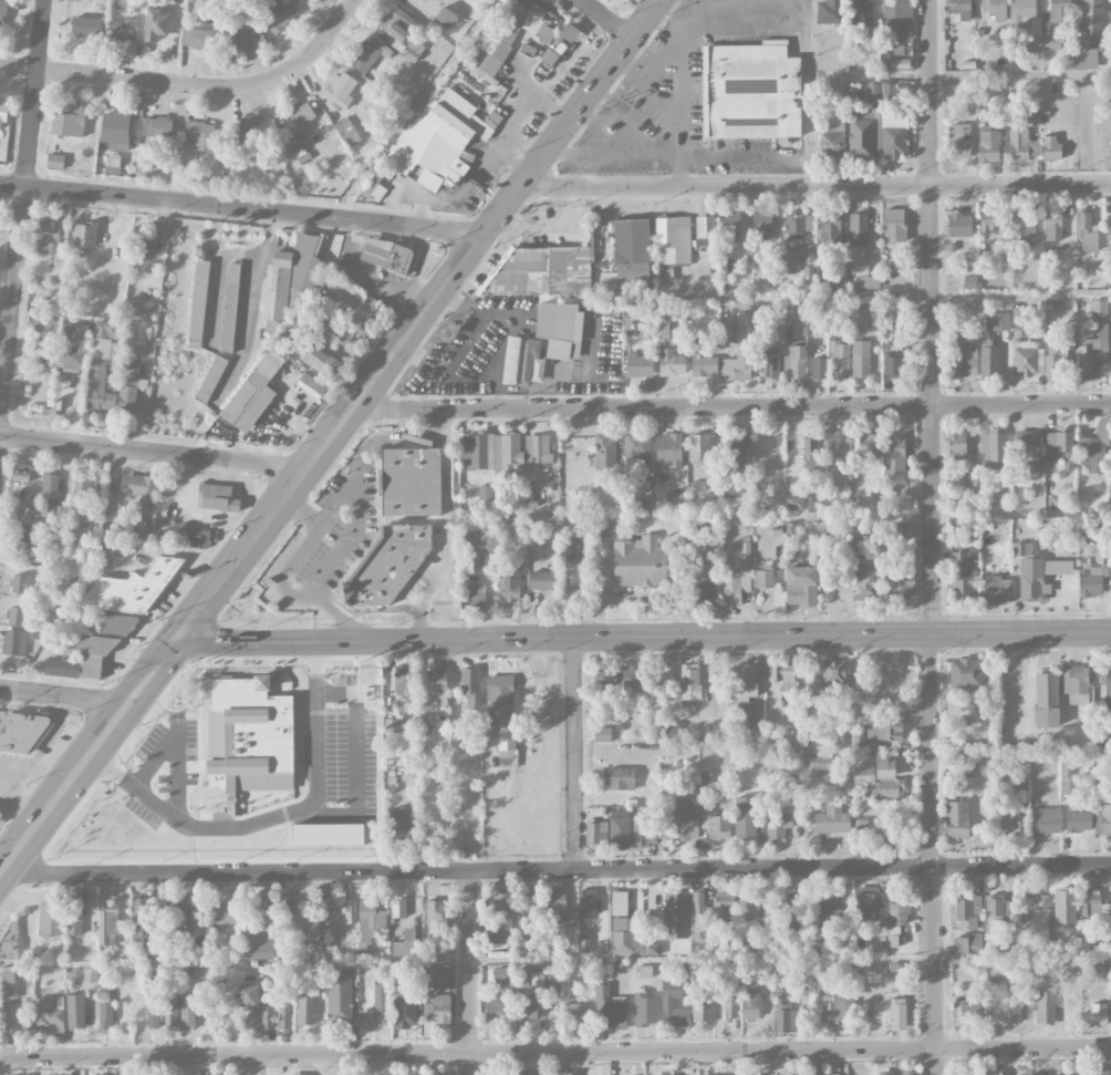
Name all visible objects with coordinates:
building: (424, 0)
building: (962, 9)
building: (995, 9)
building: (829, 11)
building: (1060, 11)
building: (2, 12)
building: (280, 13)
building: (445, 15)
building: (896, 17)
road: (608, 19)
building: (1026, 22)
building: (155, 23)
building: (397, 23)
building: (85, 27)
road: (745, 27)
building: (122, 29)
building: (569, 32)
building: (1088, 33)
building: (509, 34)
building: (197, 38)
building: (1051, 41)
building: (527, 50)
building: (415, 52)
building: (553, 52)
building: (367, 53)
building: (892, 62)
road: (195, 86)
building: (831, 86)
road: (679, 87)
building: (340, 89)
road: (653, 89)
building: (750, 92)
road: (807, 92)
building: (889, 93)
building: (873, 95)
building: (301, 113)
building: (2, 114)
building: (1031, 117)
building: (69, 120)
building: (156, 126)
road: (599, 127)
building: (115, 130)
building: (243, 131)
building: (346, 132)
building: (199, 134)
building: (893, 136)
building: (862, 138)
building: (440, 141)
building: (831, 141)
building: (958, 141)
building: (1021, 144)
building: (988, 146)
building: (1050, 147)
road: (615, 156)
road: (738, 156)
building: (113, 159)
building: (54, 161)
building: (144, 168)
road: (570, 170)
road: (814, 185)
road: (242, 209)
road: (23, 213)
building: (988, 221)
building: (1110, 223)
building: (1051, 224)
building: (762, 225)
building: (798, 225)
building: (894, 225)
building: (959, 225)
building: (730, 226)
building: (830, 226)
building: (1022, 227)
building: (705, 230)
building: (1087, 230)
building: (48, 234)
building: (83, 234)
building: (858, 236)
building: (673, 239)
building: (144, 245)
building: (385, 254)
building: (808, 254)
building: (632, 255)
building: (791, 259)
building: (305, 263)
building: (541, 272)
building: (839, 278)
building: (865, 278)
building: (608, 280)
building: (278, 288)
building: (197, 299)
road: (250, 302)
building: (360, 302)
building: (228, 307)
building: (743, 319)
building: (1018, 319)
building: (997, 321)
road: (417, 322)
building: (44, 323)
building: (560, 329)
building: (343, 331)
building: (891, 332)
building: (728, 334)
building: (83, 339)
building: (1094, 344)
building: (115, 350)
building: (1057, 353)
building: (669, 356)
building: (840, 359)
building: (860, 359)
building: (963, 359)
building: (1027, 359)
building: (519, 360)
building: (988, 361)
building: (770, 362)
building: (795, 362)
building: (640, 364)
building: (704, 364)
building: (100, 365)
building: (334, 365)
building: (736, 365)
building: (895, 365)
building: (819, 368)
building: (209, 379)
building: (311, 384)
building: (253, 393)
building: (127, 394)
road: (730, 406)
building: (1028, 437)
road: (382, 438)
building: (1058, 442)
building: (957, 444)
building: (832, 445)
building: (699, 446)
building: (864, 447)
building: (537, 448)
building: (636, 448)
building: (668, 449)
building: (991, 449)
building: (478, 452)
road: (153, 453)
building: (809, 453)
building: (1092, 453)
building: (508, 454)
building: (731, 454)
building: (894, 454)
building: (604, 455)
building: (21, 472)
building: (411, 482)
building: (137, 484)
building: (697, 485)
building: (101, 486)
building: (485, 492)
building: (49, 494)
building: (218, 497)
building: (675, 498)
building: (82, 500)
building: (731, 500)
building: (796, 503)
building: (640, 505)
road: (357, 510)
building: (25, 515)
building: (606, 526)
road: (445, 527)
building: (570, 528)
building: (142, 530)
building: (160, 531)
building: (901, 533)
building: (194, 536)
road: (932, 537)
building: (486, 540)
building: (28, 541)
building: (855, 542)
road: (126, 546)
building: (640, 562)
building: (387, 565)
road: (476, 569)
building: (1037, 571)
building: (570, 573)
building: (964, 576)
building: (764, 577)
building: (737, 578)
building: (1091, 579)
building: (542, 580)
building: (865, 581)
building: (509, 582)
building: (24, 583)
road: (280, 583)
building: (901, 583)
building: (801, 586)
building: (133, 588)
building: (996, 590)
building: (705, 595)
building: (476, 597)
road: (383, 609)
building: (18, 616)
building: (121, 624)
road: (642, 637)
building: (13, 642)
building: (97, 644)
traffic signals: (174, 644)
road: (222, 652)
road: (274, 654)
road: (300, 660)
road: (342, 660)
road: (239, 665)
building: (61, 666)
building: (91, 666)
building: (965, 673)
building: (782, 674)
building: (632, 675)
road: (326, 678)
building: (403, 680)
building: (605, 680)
building: (689, 681)
building: (1074, 683)
building: (829, 684)
building: (470, 685)
building: (1107, 690)
road: (65, 696)
building: (747, 696)
building: (1046, 700)
building: (186, 712)
road: (331, 716)
building: (501, 716)
building: (667, 728)
building: (884, 730)
building: (20, 732)
building: (248, 732)
building: (602, 733)
building: (858, 736)
building: (842, 742)
road: (326, 751)
road: (573, 754)
road: (87, 758)
building: (820, 762)
building: (863, 775)
building: (1067, 777)
building: (620, 778)
building: (887, 778)
building: (1098, 786)
building: (1018, 787)
building: (745, 816)
building: (1105, 818)
building: (683, 819)
building: (832, 819)
building: (956, 819)
building: (1043, 820)
building: (1078, 820)
road: (98, 821)
building: (1008, 821)
building: (1097, 821)
building: (778, 824)
building: (859, 824)
building: (398, 825)
building: (716, 826)
building: (619, 827)
building: (644, 830)
building: (596, 834)
building: (885, 838)
road: (1021, 866)
road: (465, 870)
building: (285, 901)
building: (866, 902)
building: (586, 903)
building: (619, 903)
building: (1093, 903)
building: (398, 906)
building: (721, 906)
building: (750, 906)
building: (557, 907)
building: (796, 908)
building: (994, 909)
building: (1008, 909)
building: (139, 910)
building: (351, 910)
building: (438, 911)
building: (830, 912)
building: (967, 912)
building: (899, 913)
building: (74, 916)
building: (224, 916)
building: (501, 916)
building: (675, 916)
building: (181, 917)
building: (698, 917)
building: (50, 918)
building: (370, 920)
building: (307, 921)
building: (107, 923)
building: (528, 927)
building: (136, 934)
building: (262, 936)
building: (625, 936)
building: (746, 940)
building: (892, 940)
building: (966, 944)
building: (814, 947)
building: (405, 948)
road: (469, 972)
building: (90, 974)
building: (500, 974)
building: (528, 978)
building: (8, 981)
building: (399, 983)
building: (248, 995)
building: (340, 998)
building: (154, 1003)
building: (381, 1003)
building: (730, 1003)
building: (673, 1004)
building: (749, 1004)
building: (602, 1005)
building: (1045, 1005)
building: (837, 1006)
building: (172, 1007)
building: (496, 1007)
building: (437, 1009)
building: (528, 1009)
building: (645, 1009)
building: (702, 1009)
building: (305, 1010)
building: (1009, 1010)
building: (75, 1011)
building: (187, 1011)
building: (969, 1011)
building: (48, 1012)
building: (619, 1012)
building: (25, 1013)
building: (897, 1013)
building: (104, 1015)
building: (1094, 1015)
building: (284, 1016)
building: (575, 1016)
building: (267, 1017)
building: (362, 1017)
building: (786, 1019)
building: (251, 1023)
road: (555, 1053)
building: (562, 1072)
building: (446, 1073)
building: (523, 1073)
building: (605, 1073)
building: (665, 1073)
building: (1094, 1073)
building: (190, 1074)
building: (222, 1074)
building: (721, 1074)
building: (817, 1074)
building: (838, 1074)
building: (907, 1074)

